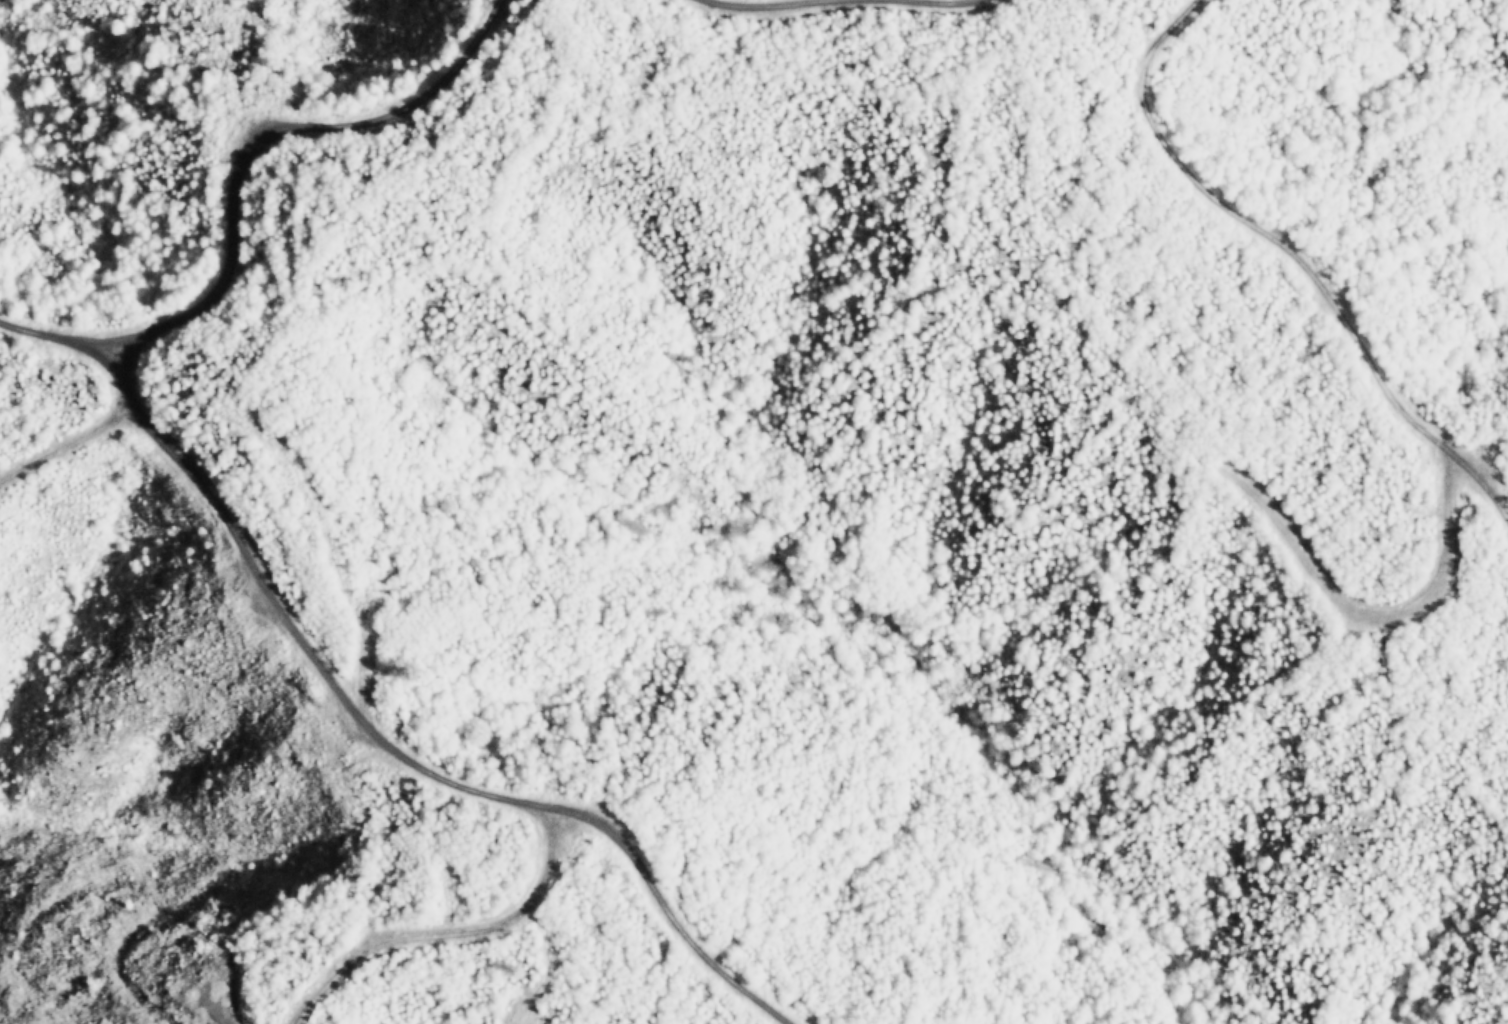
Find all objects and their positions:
road: (228, 168)
road: (1302, 280)
road: (88, 426)
road: (391, 747)

